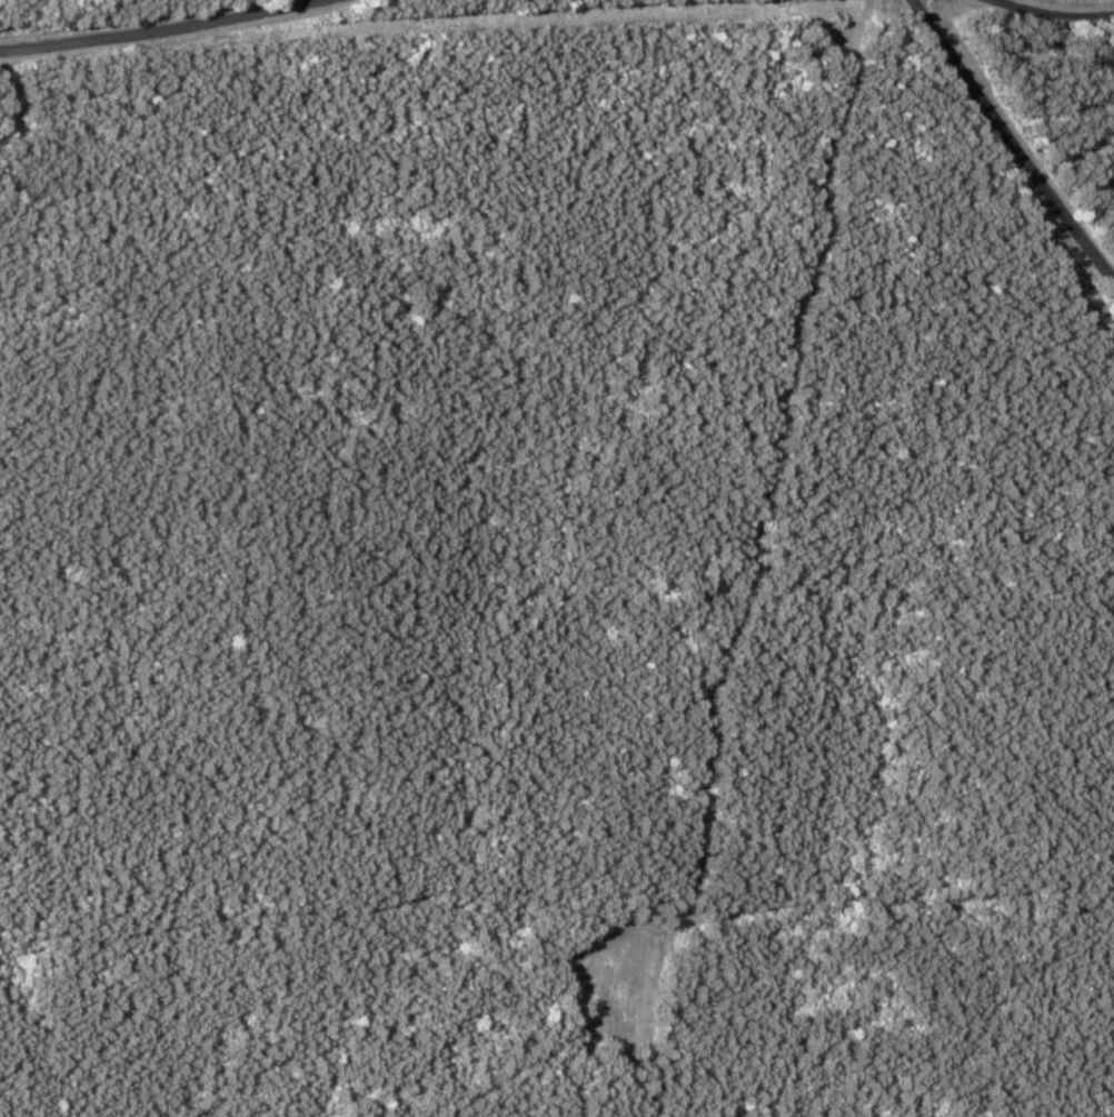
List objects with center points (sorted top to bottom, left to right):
road: (987, 16)
road: (273, 58)
road: (1015, 148)

